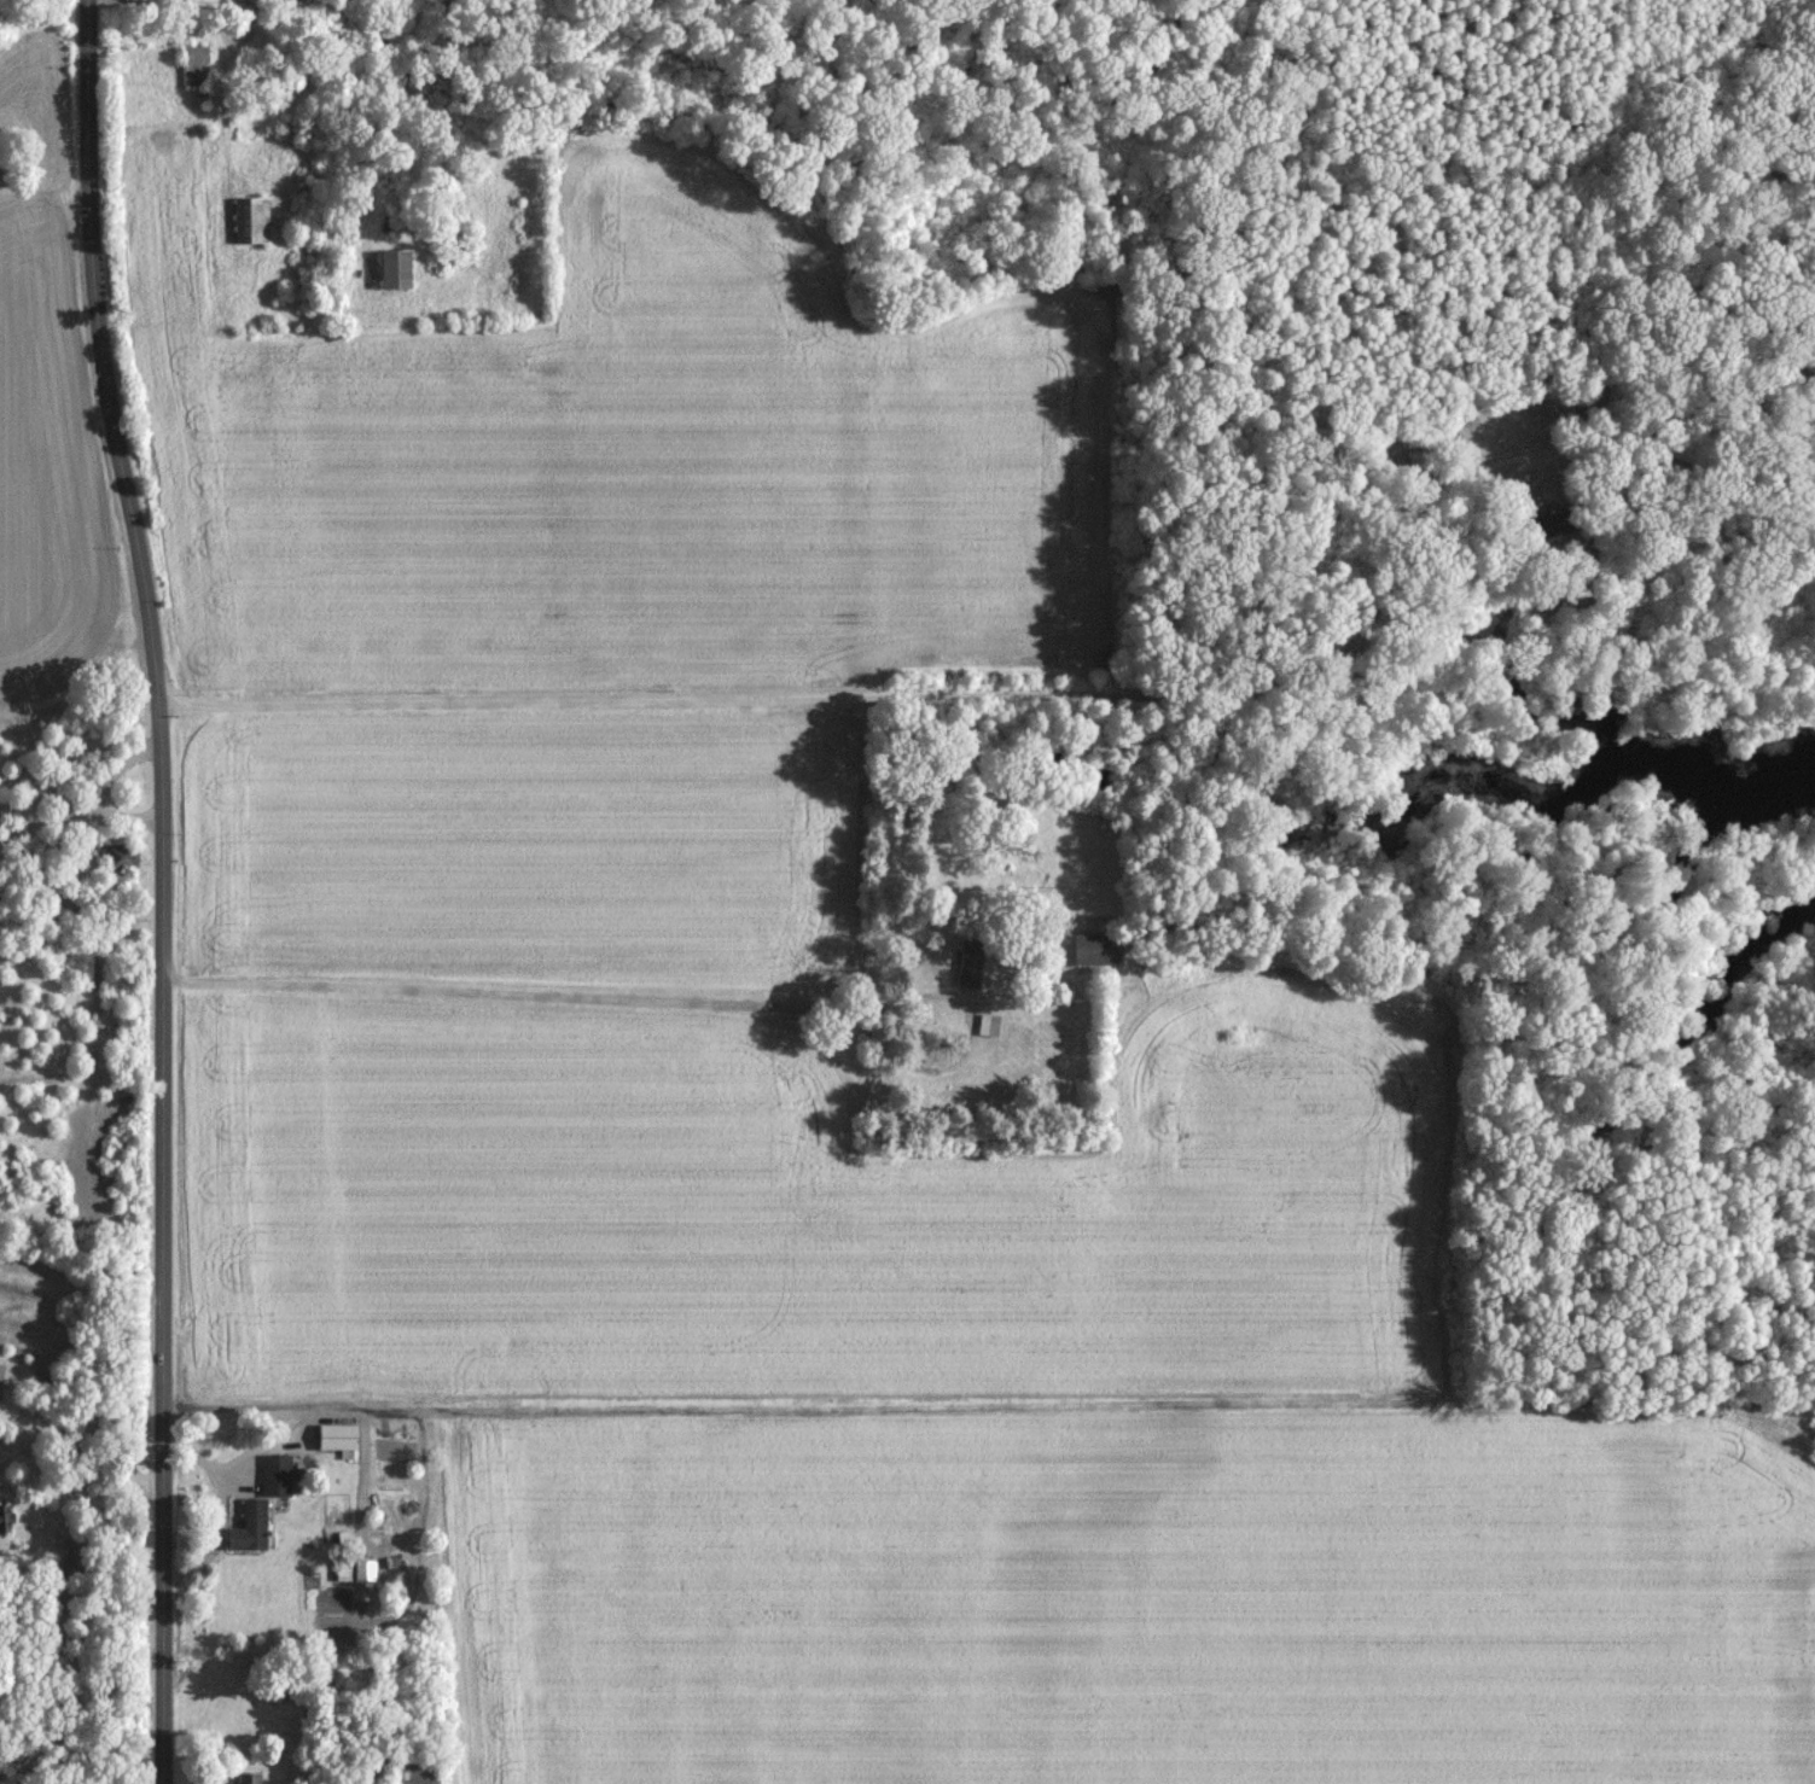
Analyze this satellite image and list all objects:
building: (249, 217)
building: (390, 268)
road: (1054, 695)
road: (165, 888)
building: (1094, 949)
building: (966, 970)
road: (517, 996)
building: (987, 1024)
building: (336, 1436)
road: (1, 1451)
road: (1, 1452)
road: (85, 1454)
building: (274, 1473)
building: (4, 1516)
building: (246, 1524)
building: (362, 1568)
building: (245, 1777)

